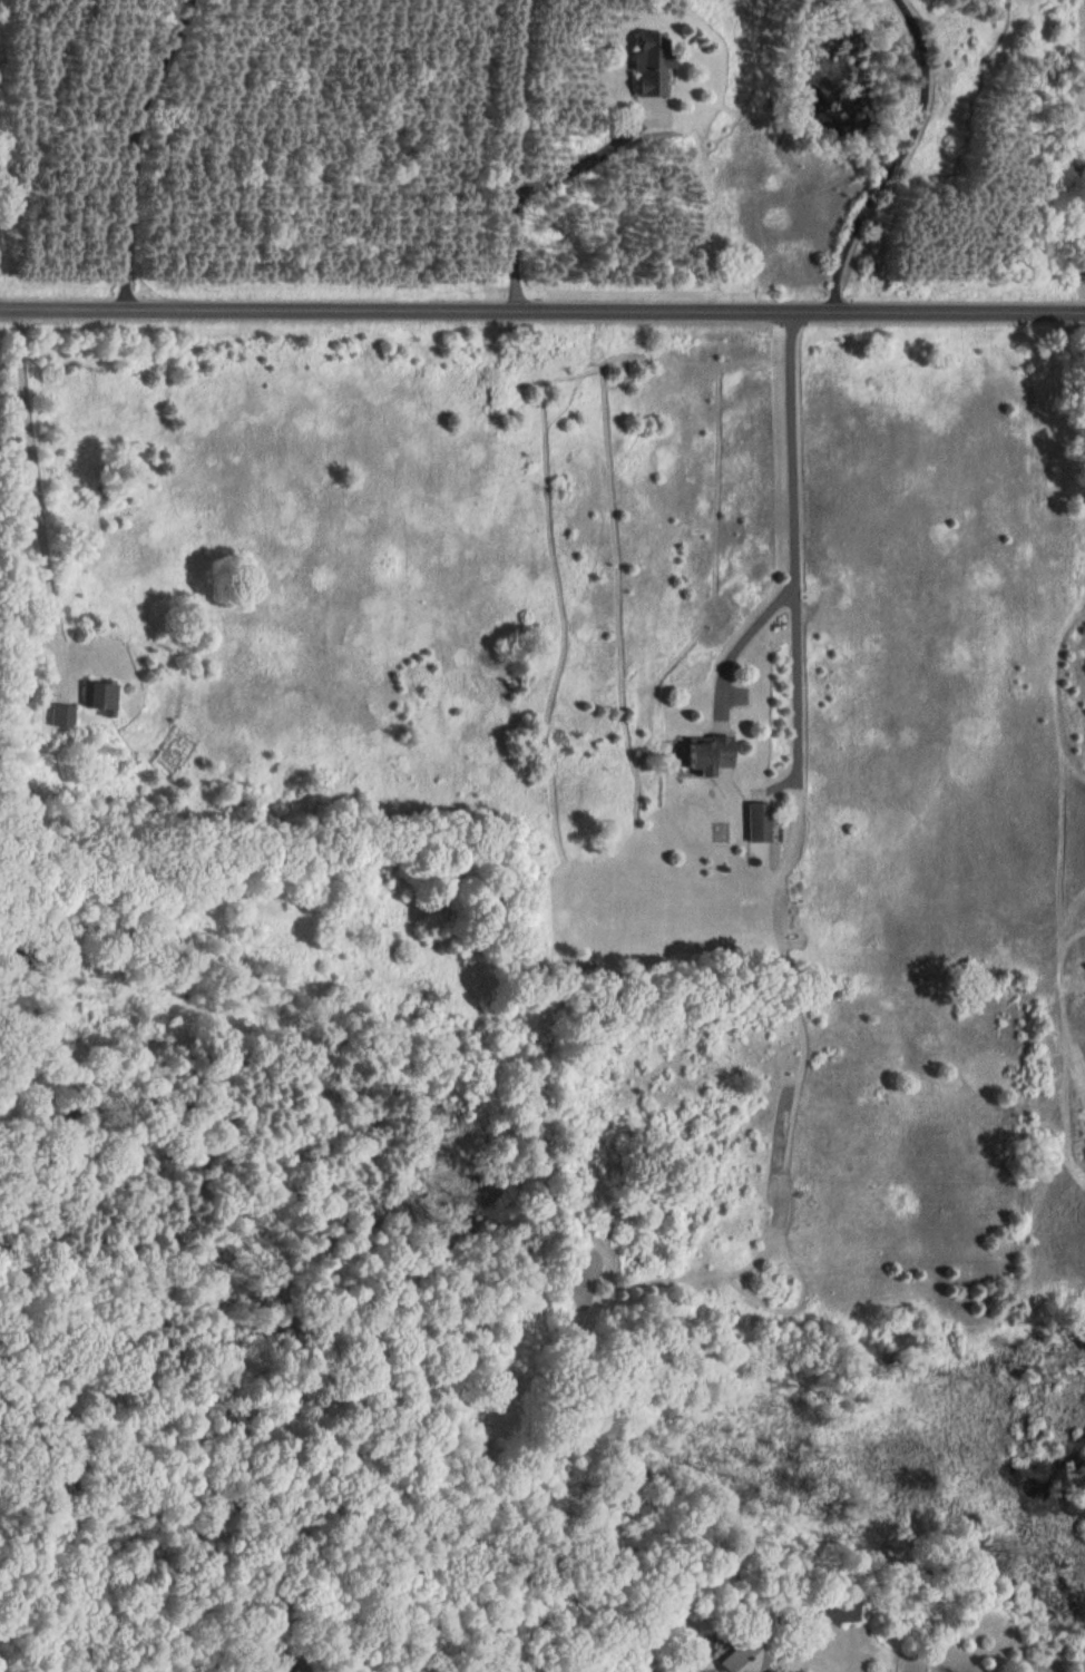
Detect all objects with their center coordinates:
building: (638, 65)
road: (897, 155)
road: (542, 305)
road: (794, 532)
building: (106, 693)
building: (68, 714)
building: (717, 752)
building: (759, 821)
building: (845, 1611)
building: (756, 1656)

